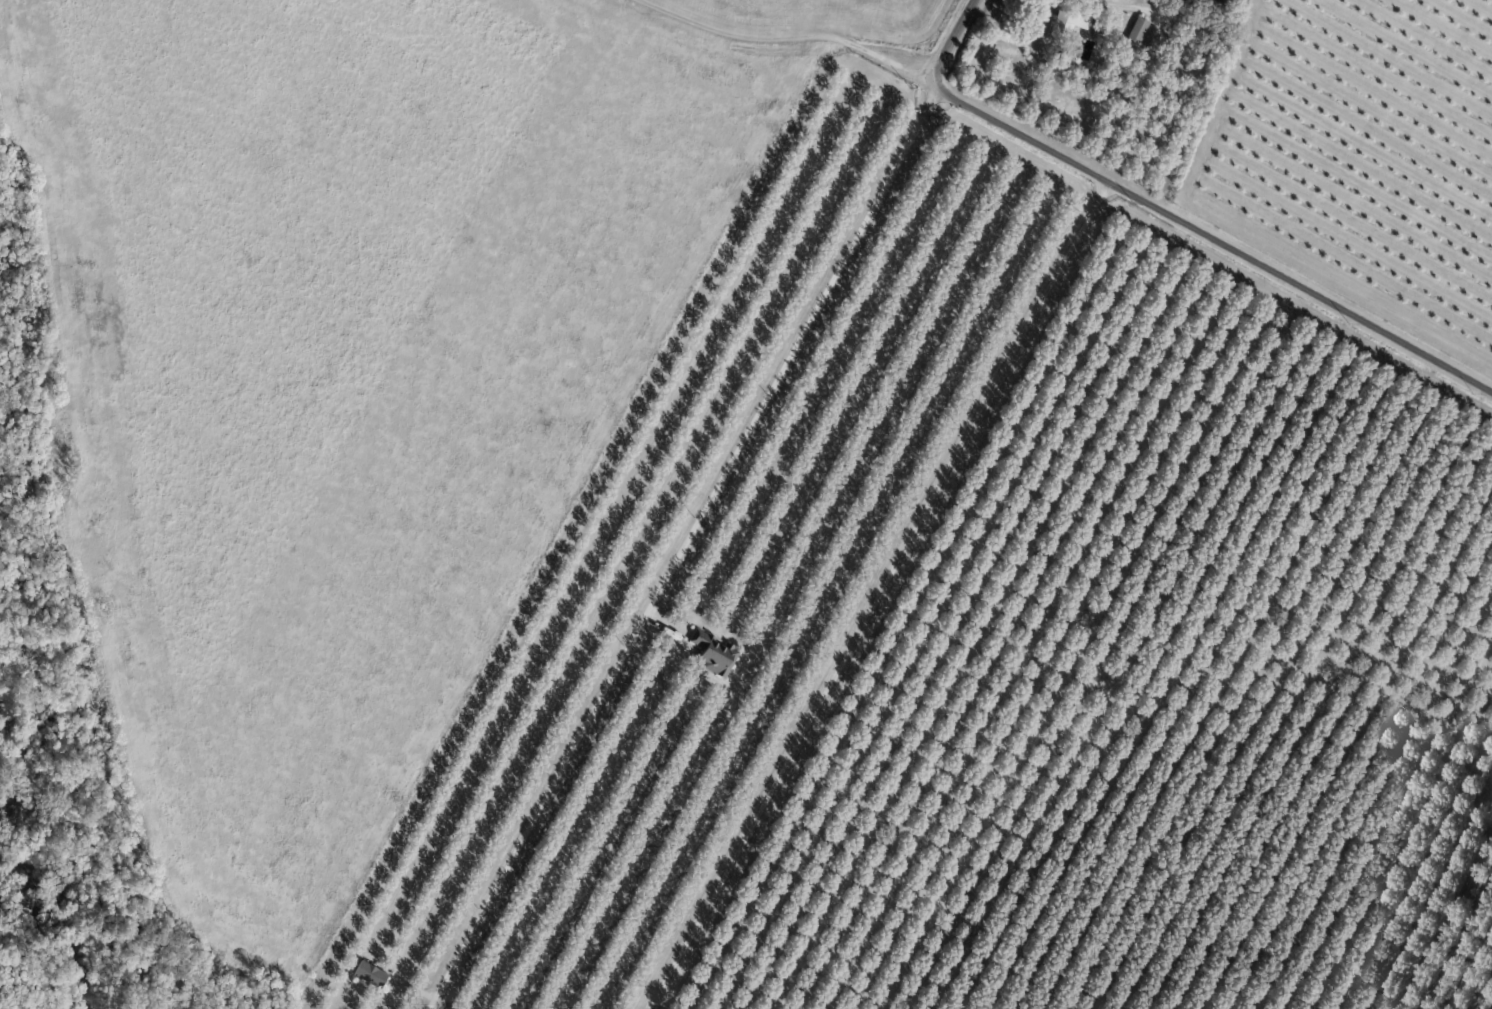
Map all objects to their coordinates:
building: (1225, 4)
building: (1196, 5)
crop: (824, 18)
building: (1070, 26)
building: (1137, 34)
building: (1056, 66)
crop: (1359, 159)
road: (1171, 218)
road: (682, 548)
road: (878, 595)
building: (714, 655)
building: (370, 976)

